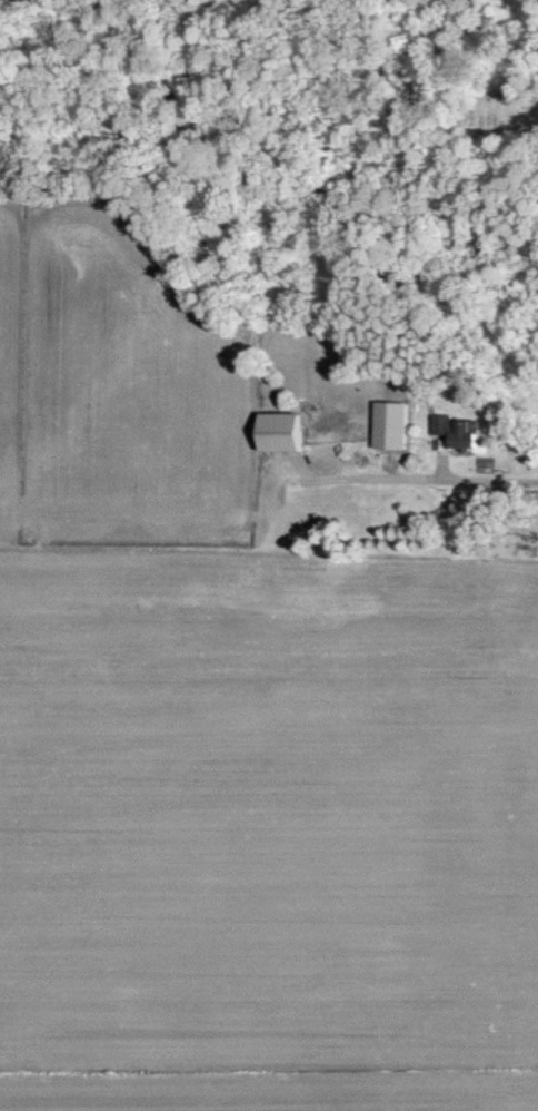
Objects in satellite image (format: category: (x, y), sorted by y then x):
building: (450, 430)
building: (275, 431)
road: (419, 479)
road: (172, 550)

